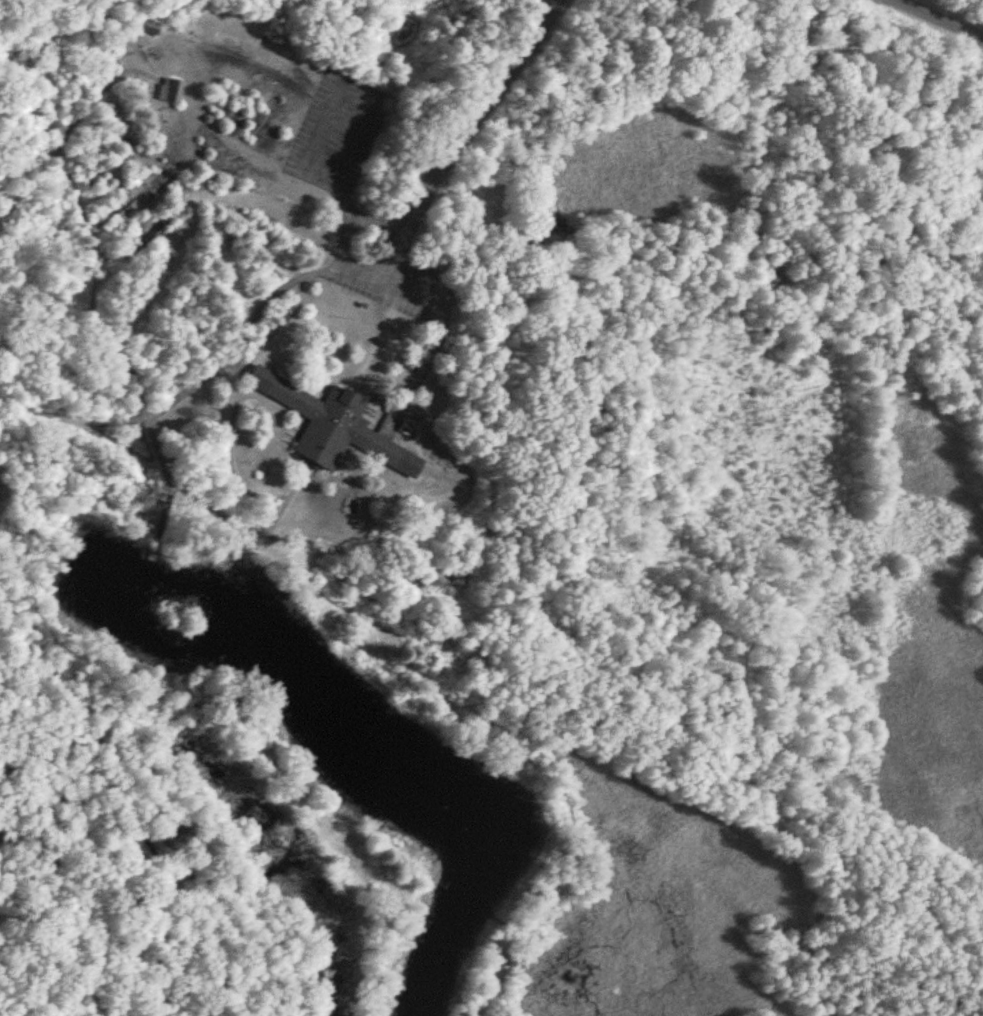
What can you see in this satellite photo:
road: (941, 19)
building: (149, 26)
building: (168, 90)
road: (462, 118)
building: (332, 425)
road: (144, 805)

